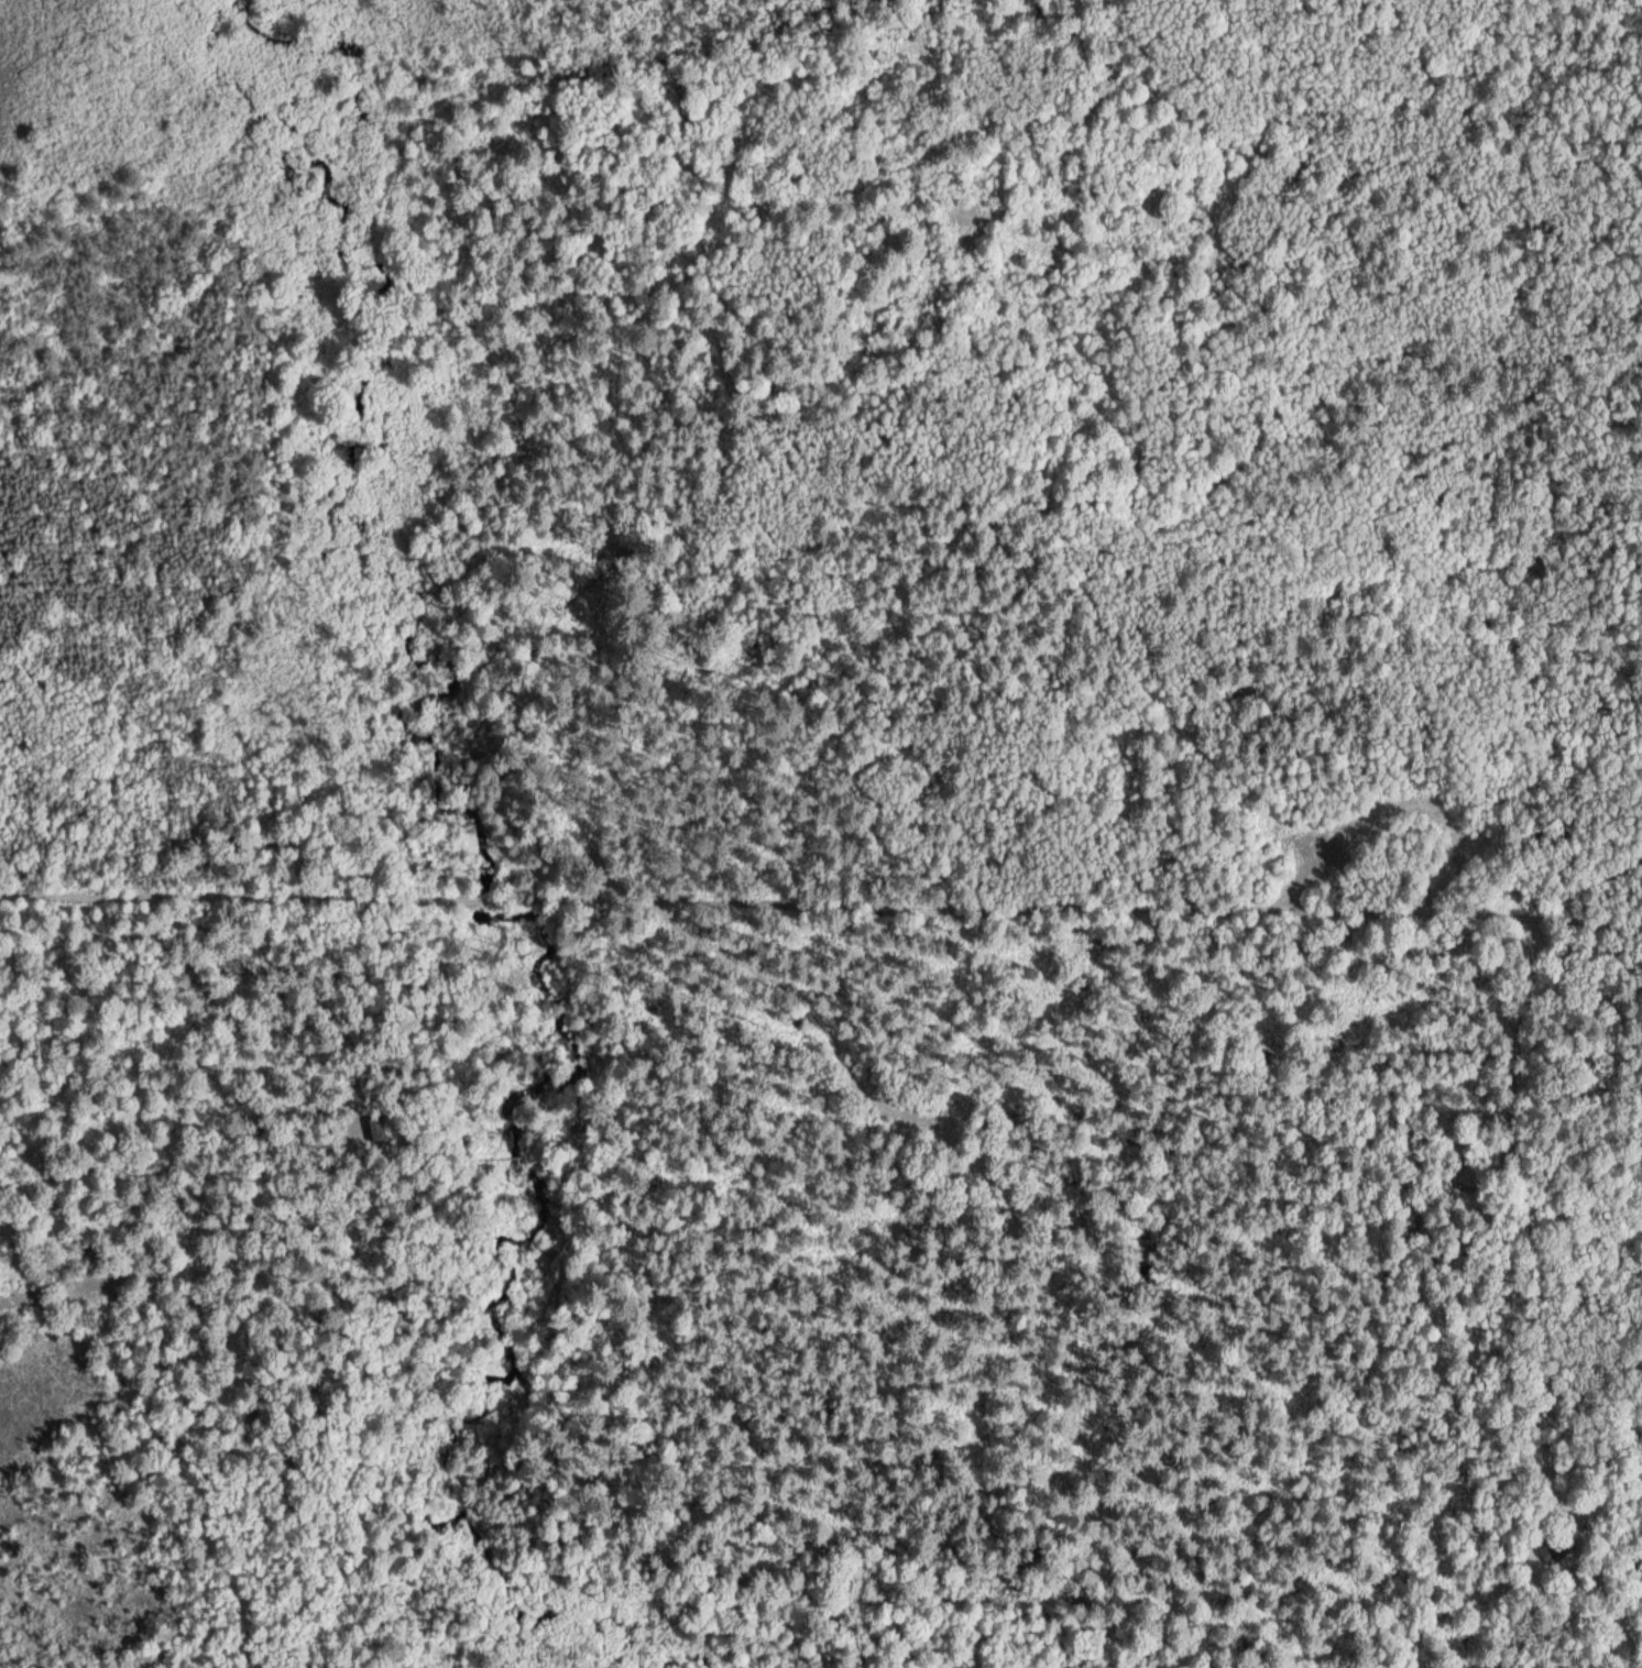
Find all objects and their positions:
road: (828, 903)
road: (1591, 915)
road: (1544, 1299)

